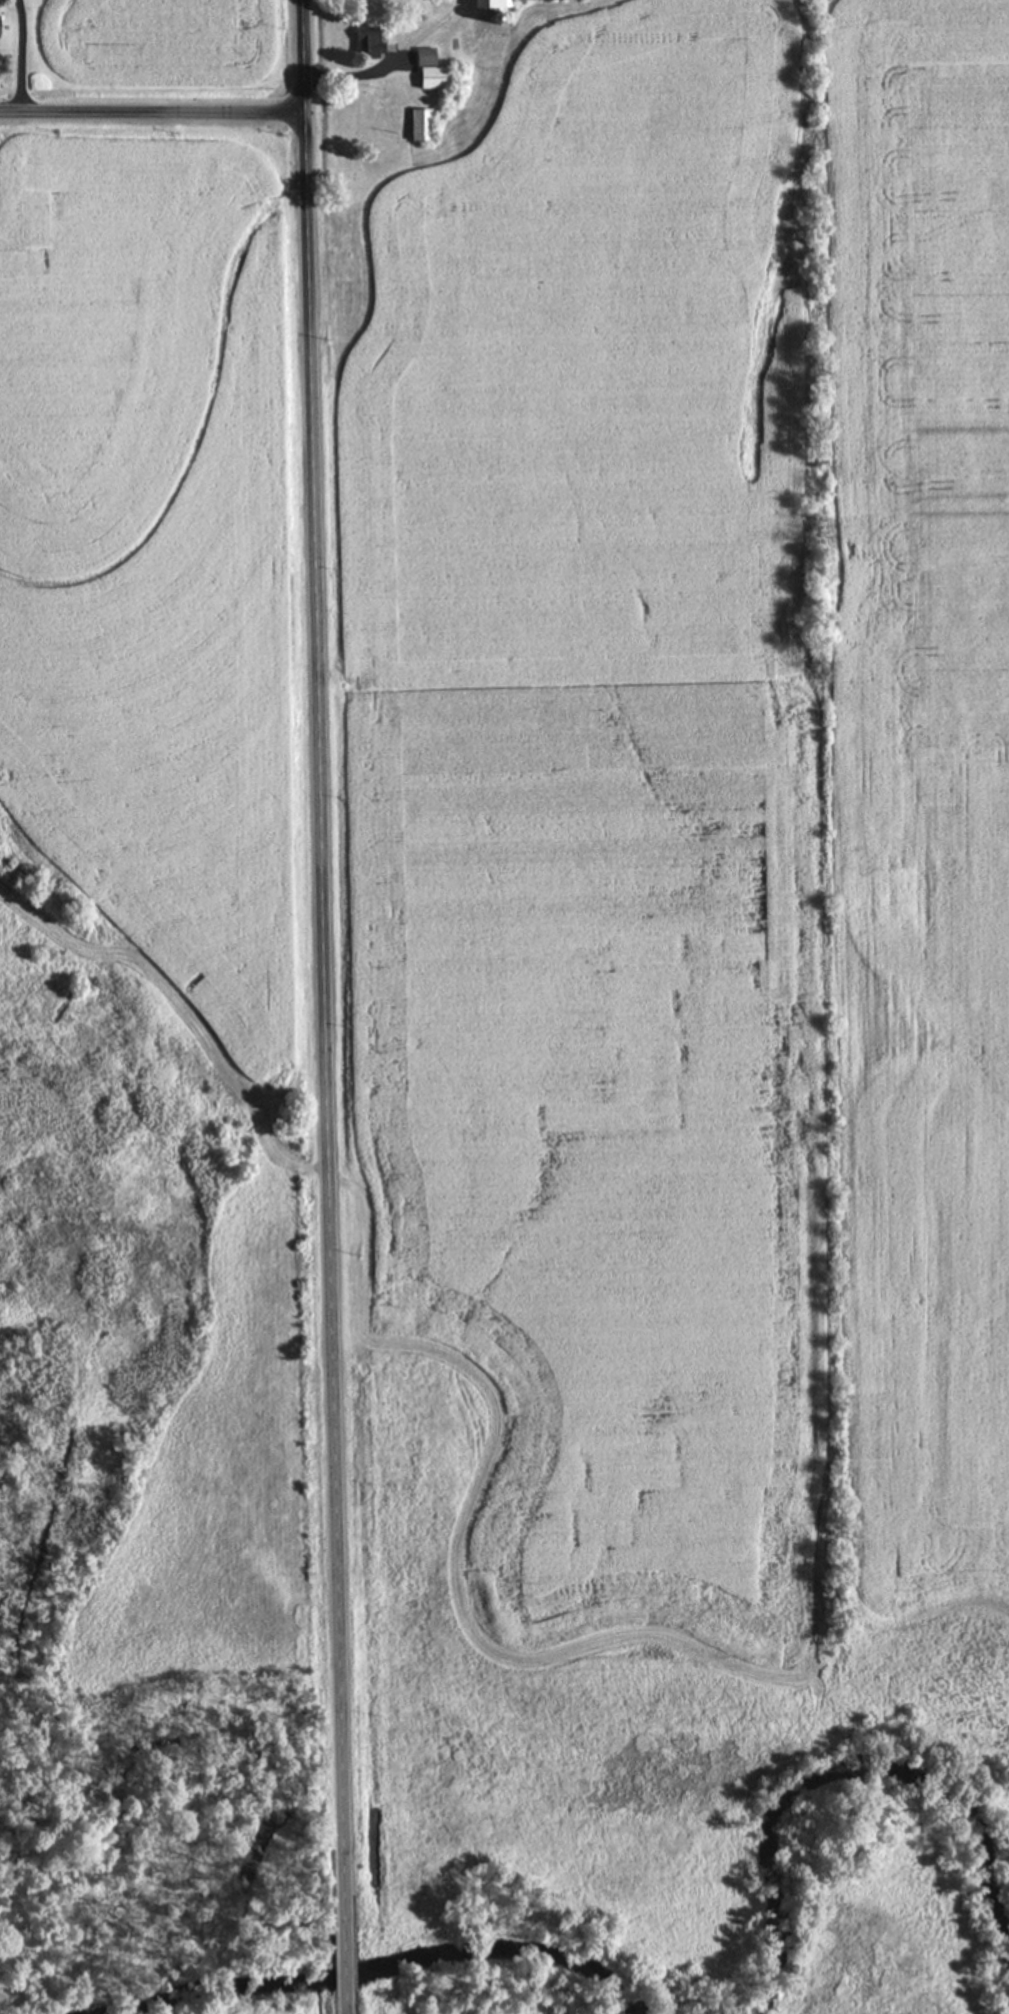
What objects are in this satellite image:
building: (496, 3)
building: (0, 22)
building: (370, 39)
road: (20, 55)
building: (433, 68)
road: (150, 112)
building: (423, 123)
road: (321, 968)
river: (837, 1766)
road: (345, 1964)
river: (383, 1965)
road: (346, 2003)

